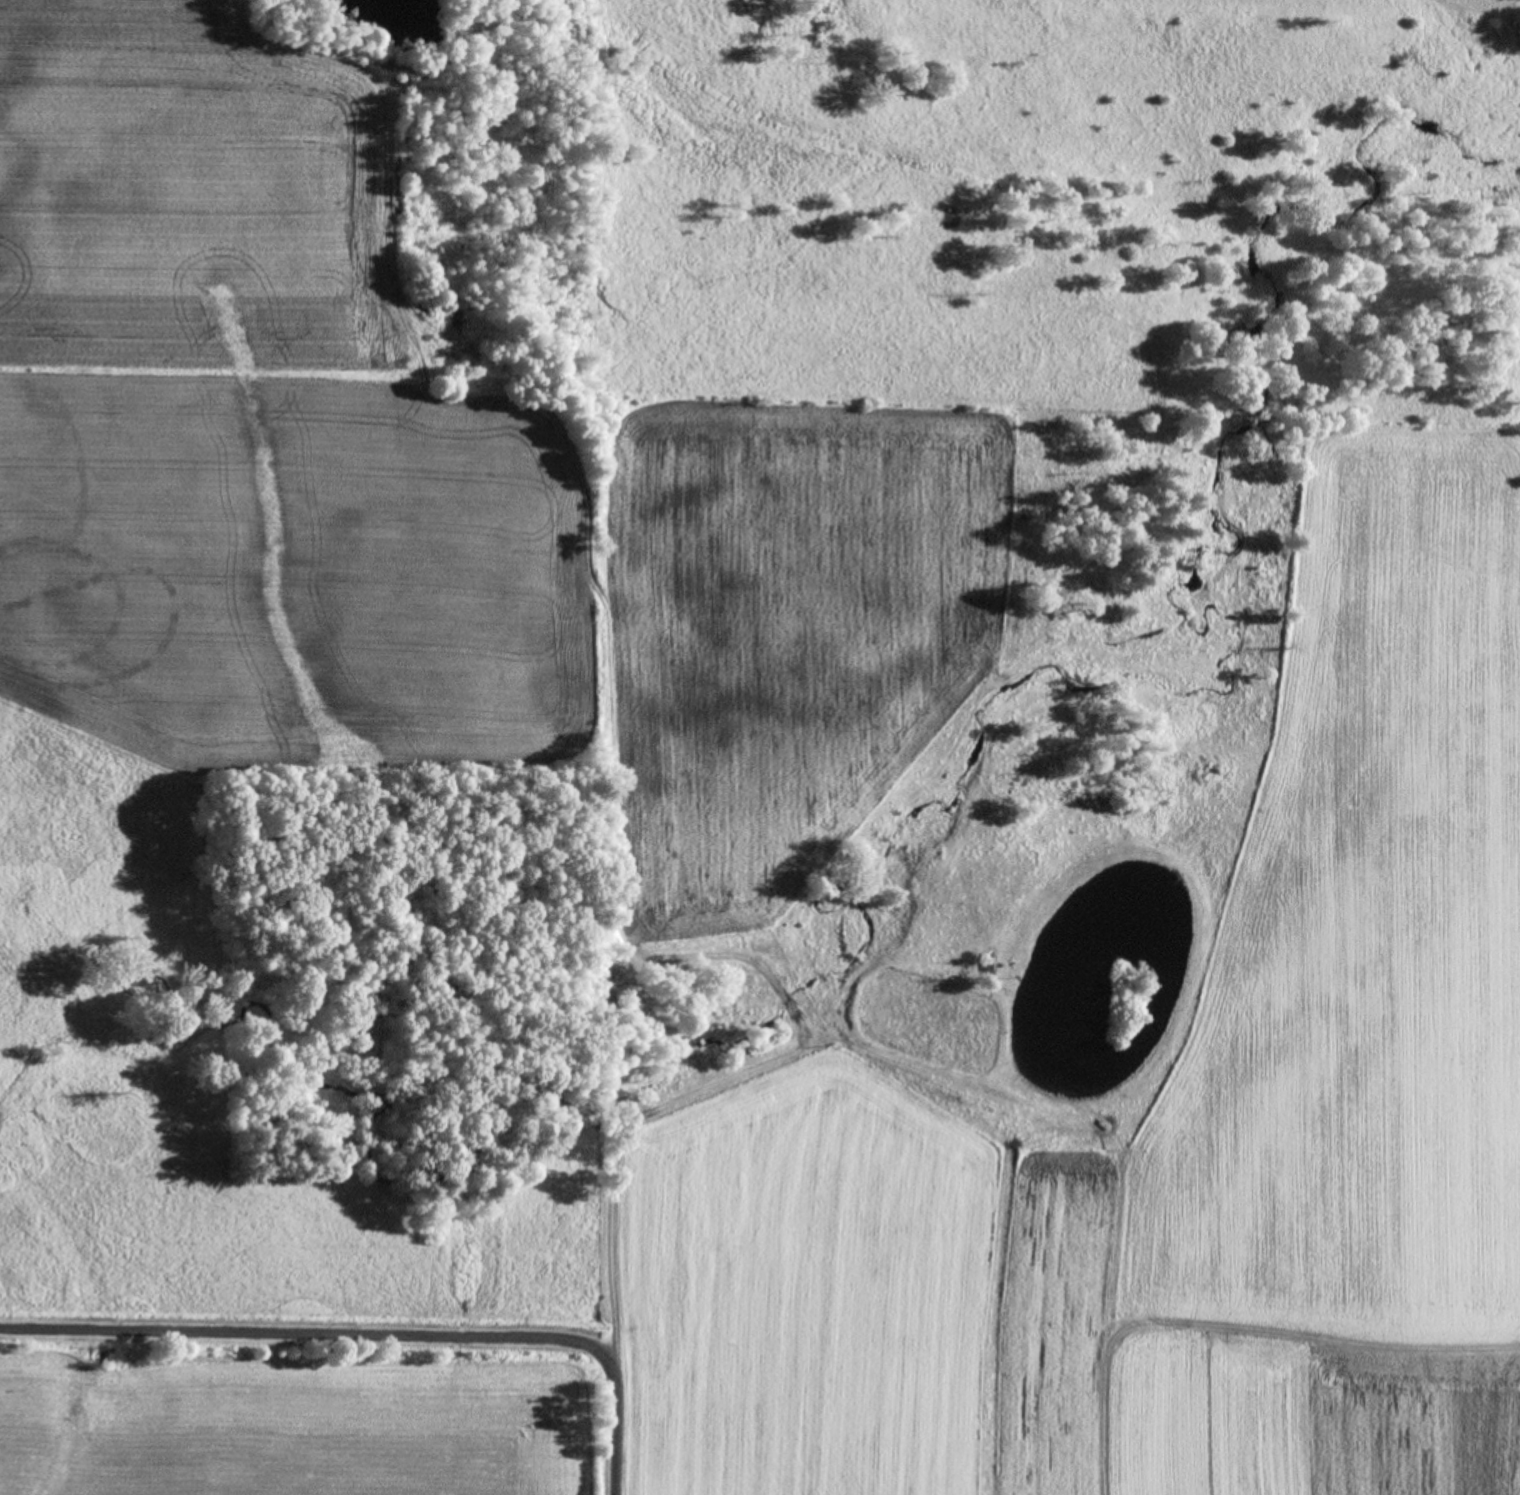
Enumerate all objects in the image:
building: (989, 964)
road: (312, 1337)
road: (612, 1437)

